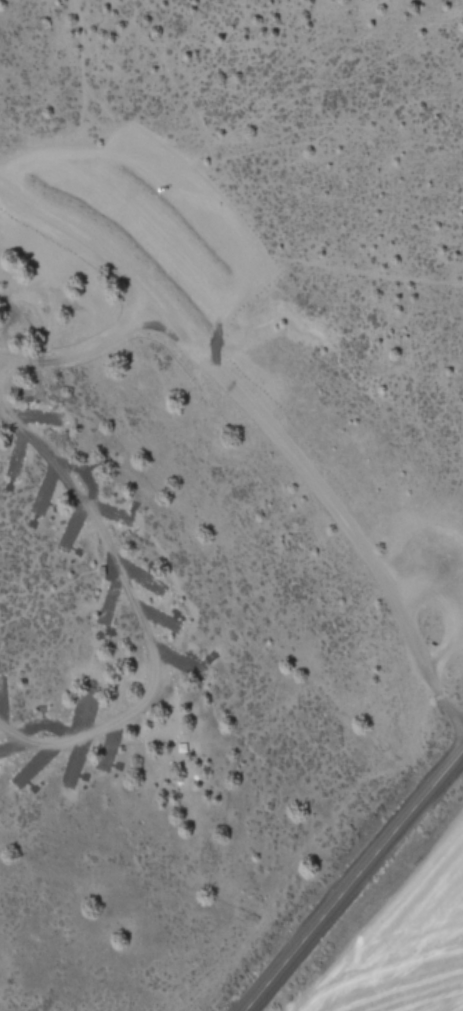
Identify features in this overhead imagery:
road: (80, 107)
parking lot: (171, 217)
road: (85, 350)
road: (1, 356)
road: (1, 361)
road: (266, 425)
building: (98, 571)
road: (137, 613)
road: (353, 881)
crop: (414, 905)
crop: (397, 985)

